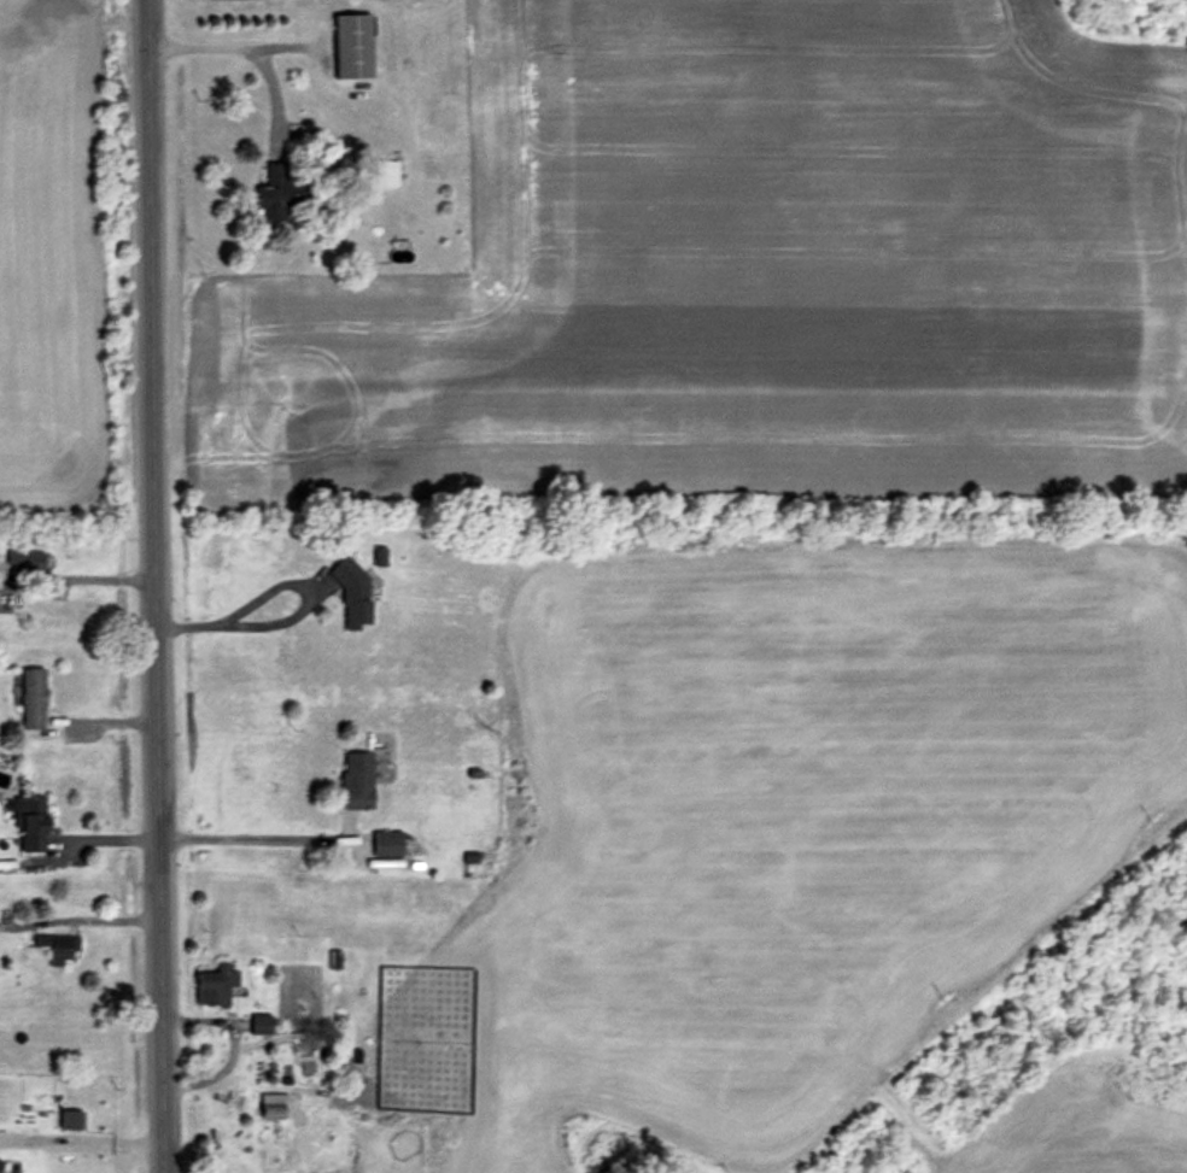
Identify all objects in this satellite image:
building: (356, 45)
road: (251, 51)
building: (277, 190)
building: (28, 558)
road: (162, 586)
road: (298, 612)
building: (35, 694)
building: (359, 778)
building: (34, 821)
road: (248, 837)
building: (390, 840)
road: (98, 917)
building: (60, 945)
building: (337, 957)
building: (217, 984)
building: (274, 1107)
building: (71, 1118)
road: (83, 1140)

